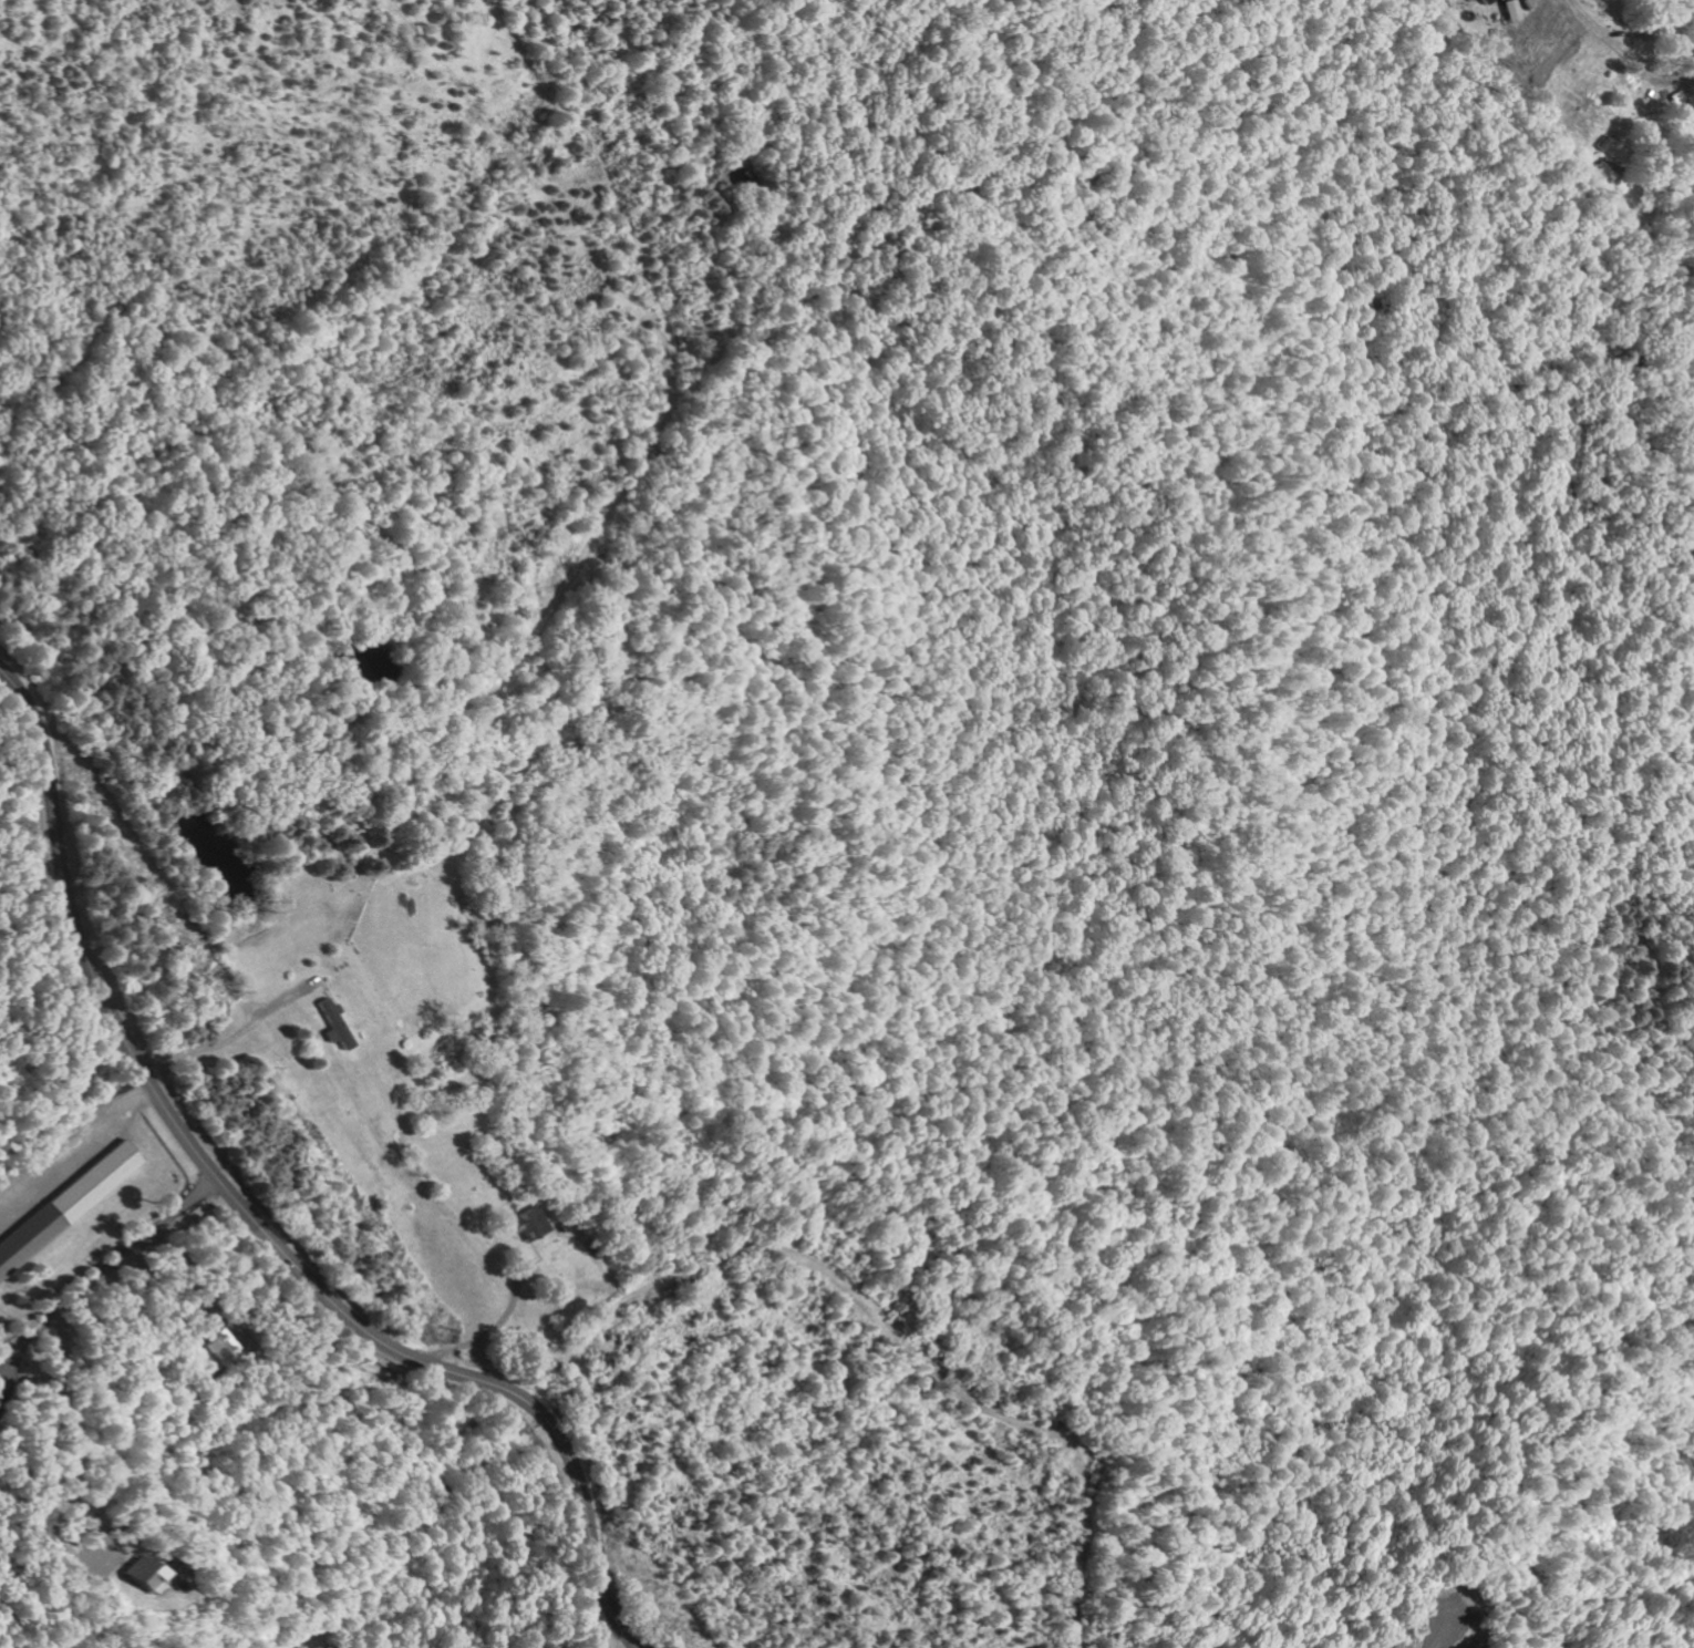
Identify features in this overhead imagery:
building: (1485, 1)
building: (339, 1024)
road: (437, 1205)
building: (71, 1206)
road: (252, 1216)
building: (533, 1224)
road: (659, 1277)
building: (223, 1350)
road: (645, 1359)
building: (145, 1570)

